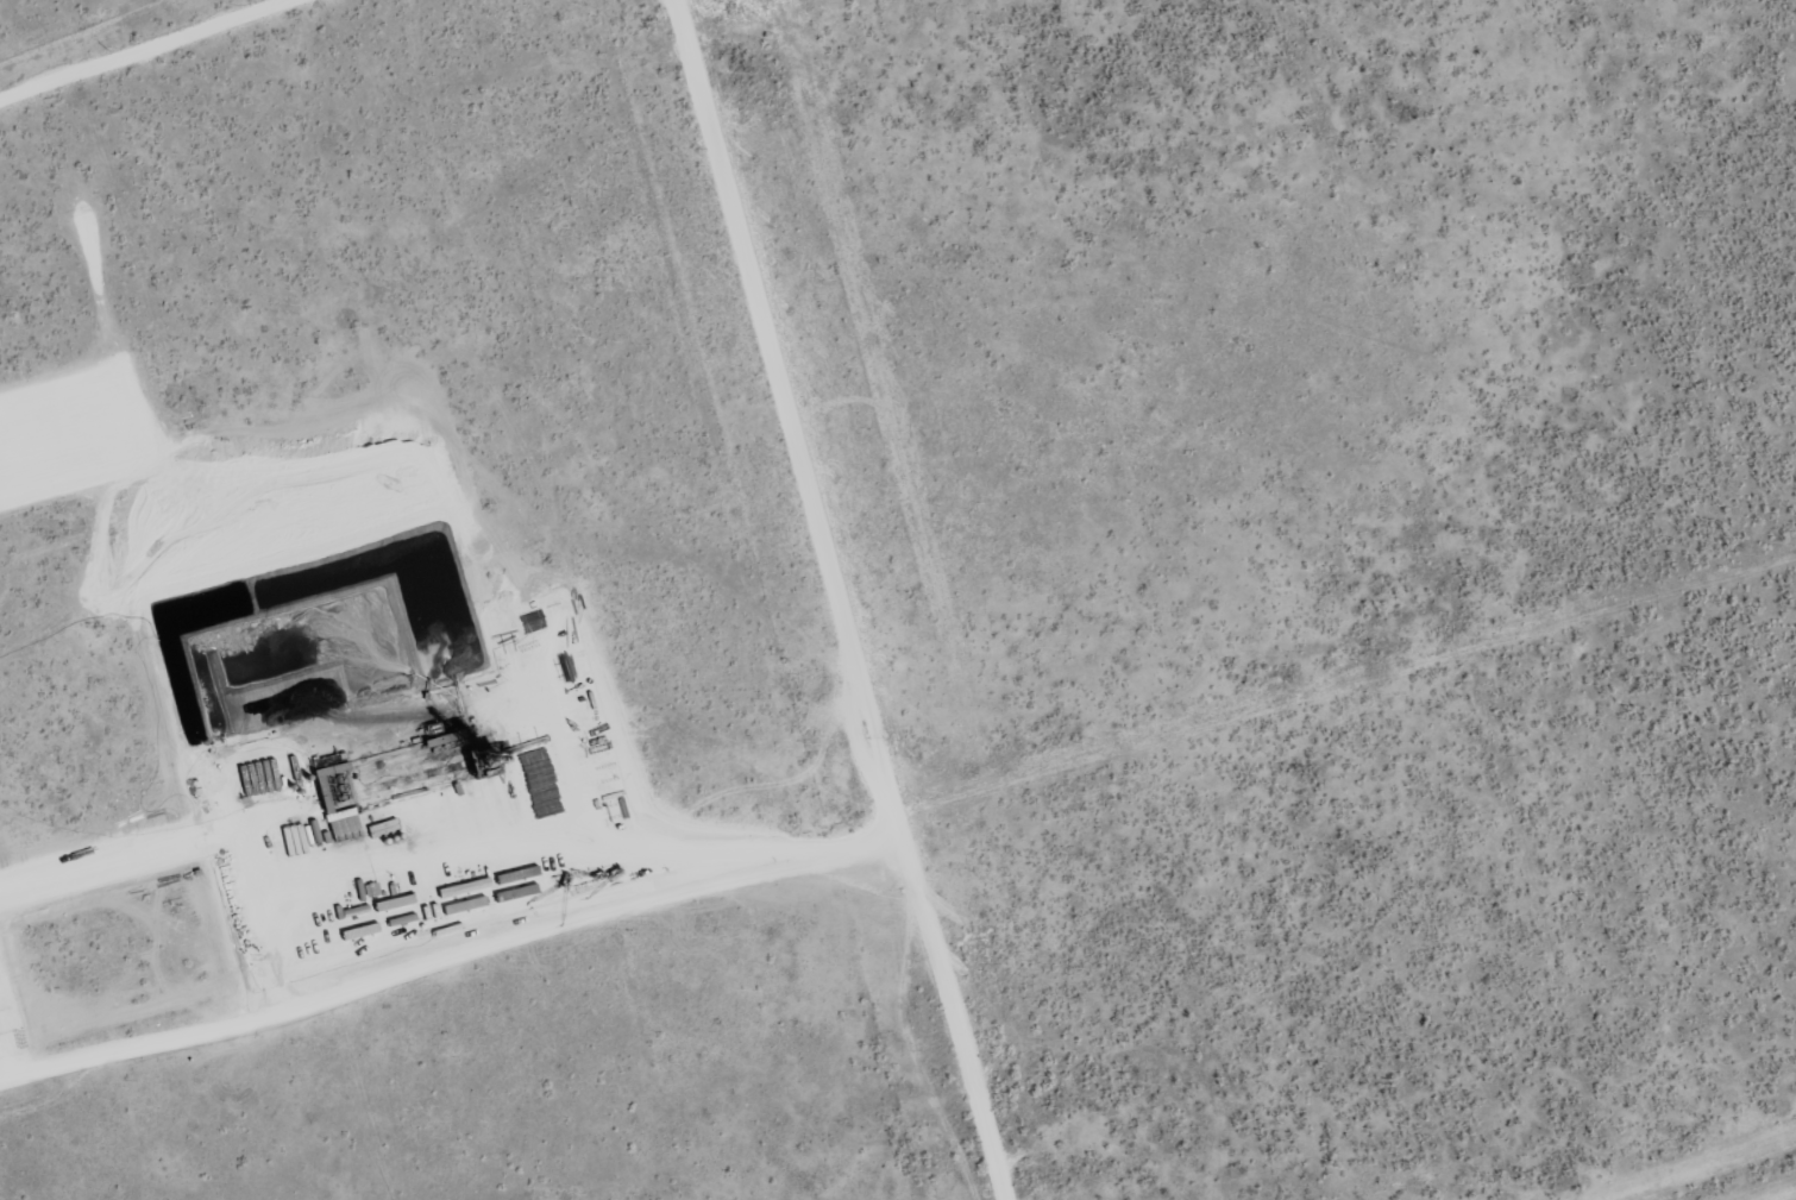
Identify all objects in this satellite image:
road: (843, 601)
road: (450, 943)

